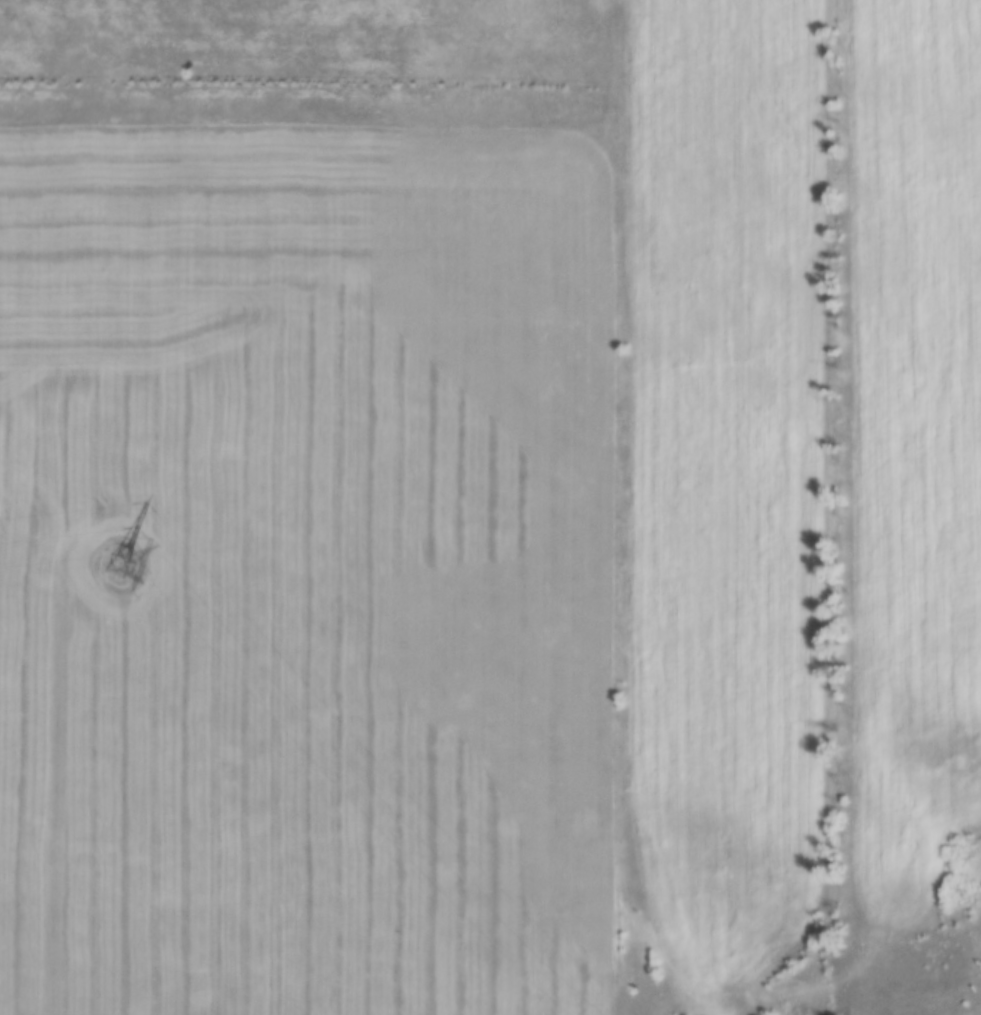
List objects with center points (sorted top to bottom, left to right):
power tower: (118, 570)

